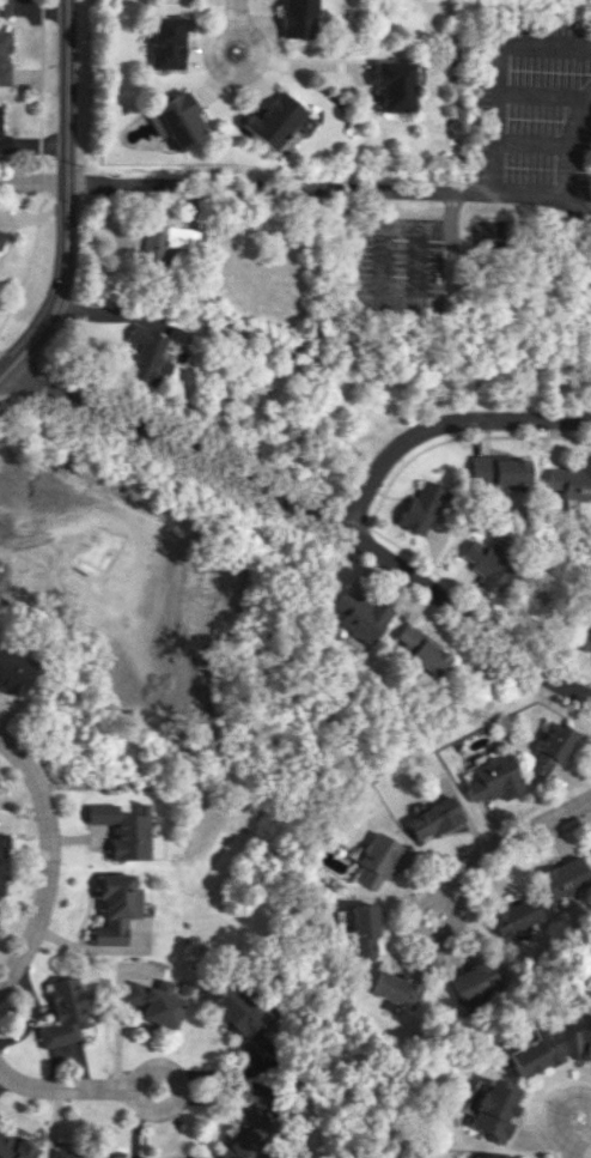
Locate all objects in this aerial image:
building: (4, 7)
road: (239, 14)
building: (298, 18)
building: (169, 41)
building: (2, 56)
road: (491, 71)
road: (236, 73)
road: (92, 78)
road: (39, 84)
building: (391, 85)
parking lot: (531, 95)
building: (273, 119)
building: (178, 121)
building: (4, 143)
road: (48, 180)
road: (32, 181)
road: (274, 188)
road: (573, 190)
road: (66, 198)
building: (0, 237)
building: (165, 241)
road: (28, 260)
parking lot: (397, 268)
building: (177, 334)
building: (146, 356)
road: (18, 358)
road: (441, 423)
road: (175, 436)
building: (498, 469)
building: (571, 478)
building: (18, 486)
building: (508, 487)
building: (420, 507)
road: (340, 514)
road: (306, 515)
building: (486, 564)
road: (476, 605)
building: (359, 614)
building: (580, 638)
building: (418, 648)
building: (14, 672)
building: (552, 748)
building: (494, 776)
building: (433, 819)
building: (121, 829)
road: (513, 836)
building: (0, 851)
building: (380, 860)
road: (49, 869)
building: (567, 877)
building: (115, 908)
building: (519, 915)
building: (365, 929)
road: (431, 938)
road: (407, 940)
building: (480, 982)
building: (400, 988)
building: (156, 1002)
building: (63, 1012)
building: (243, 1021)
building: (583, 1043)
building: (537, 1051)
road: (177, 1091)
road: (65, 1092)
building: (495, 1110)
road: (556, 1118)
building: (249, 1135)
building: (14, 1147)
building: (77, 1153)
road: (587, 1154)
building: (496, 1156)
building: (202, 1157)

